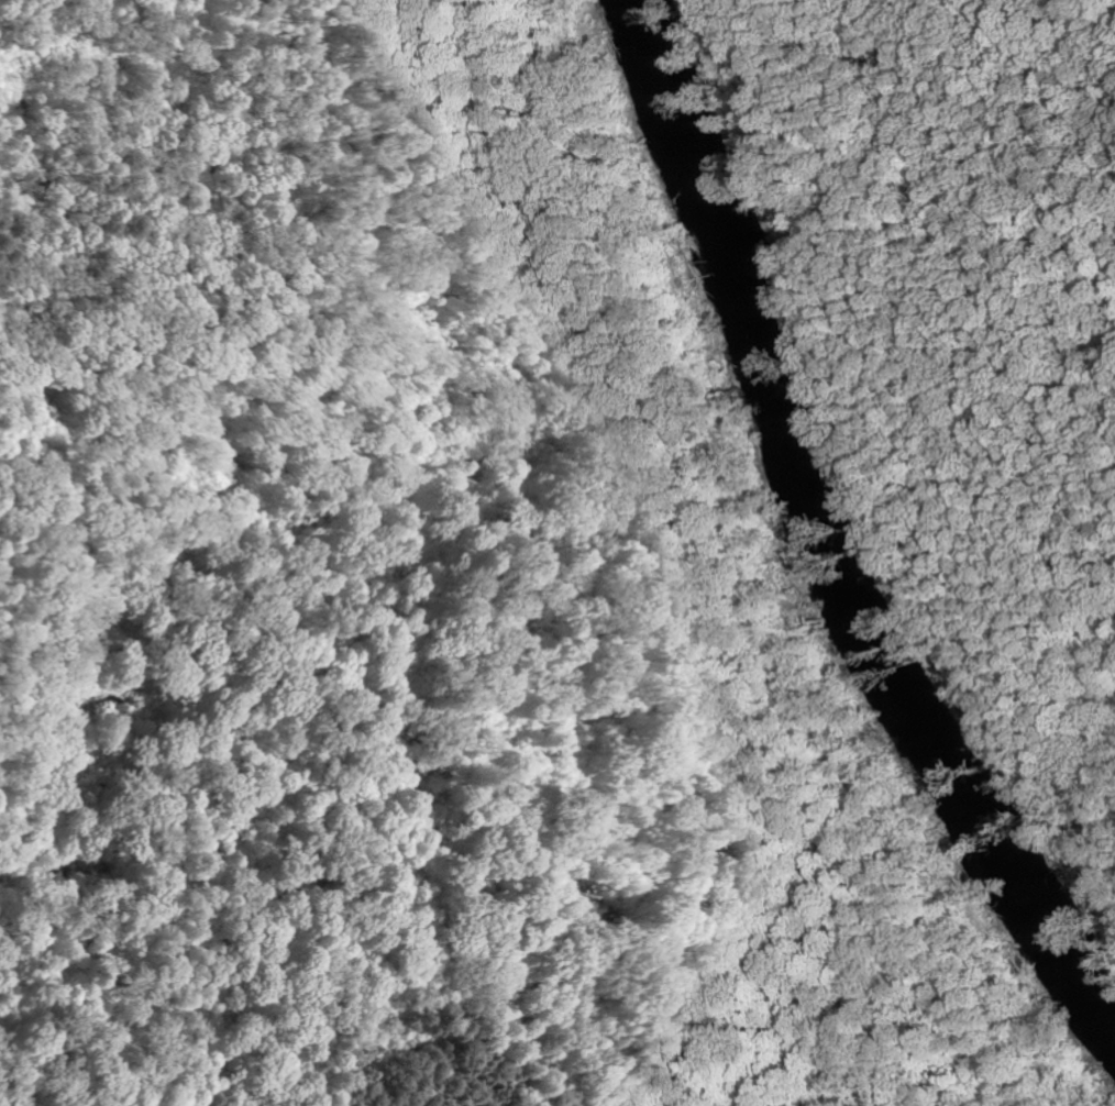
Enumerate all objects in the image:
river: (830, 538)

